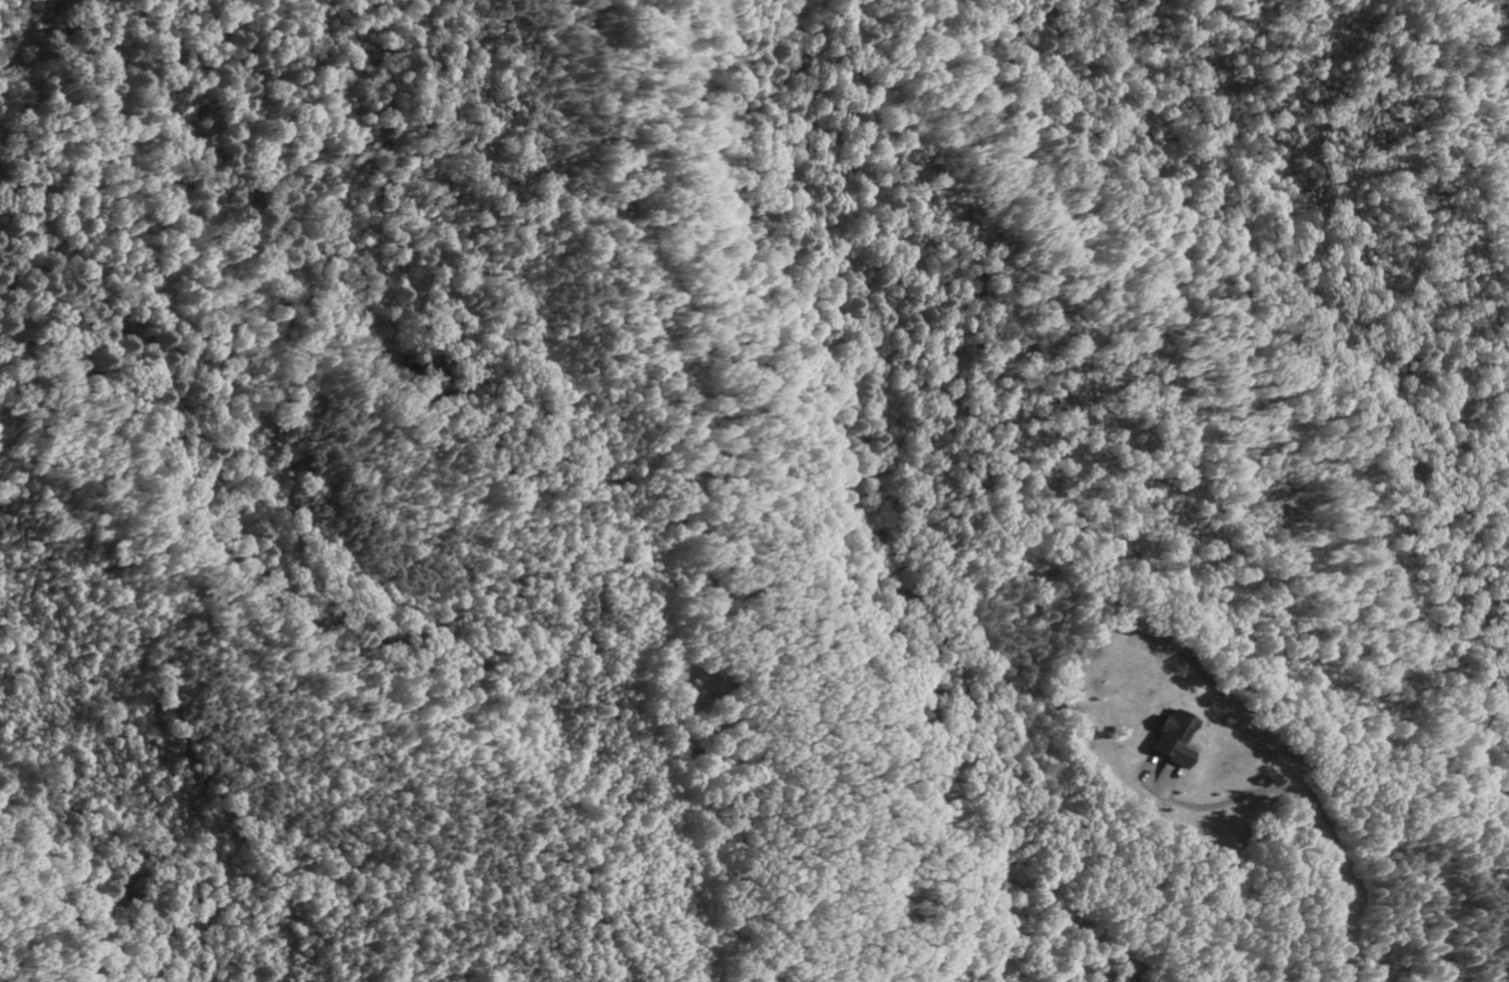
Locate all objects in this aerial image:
building: (1169, 741)
building: (1149, 769)

